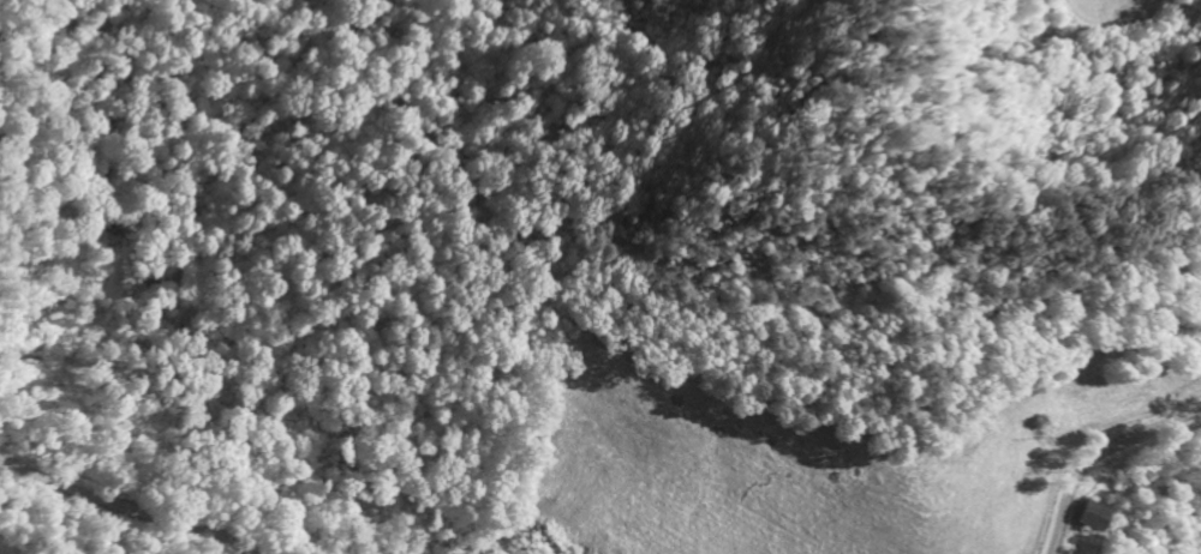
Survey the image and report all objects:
road: (1099, 454)
road: (119, 511)
building: (1087, 517)

